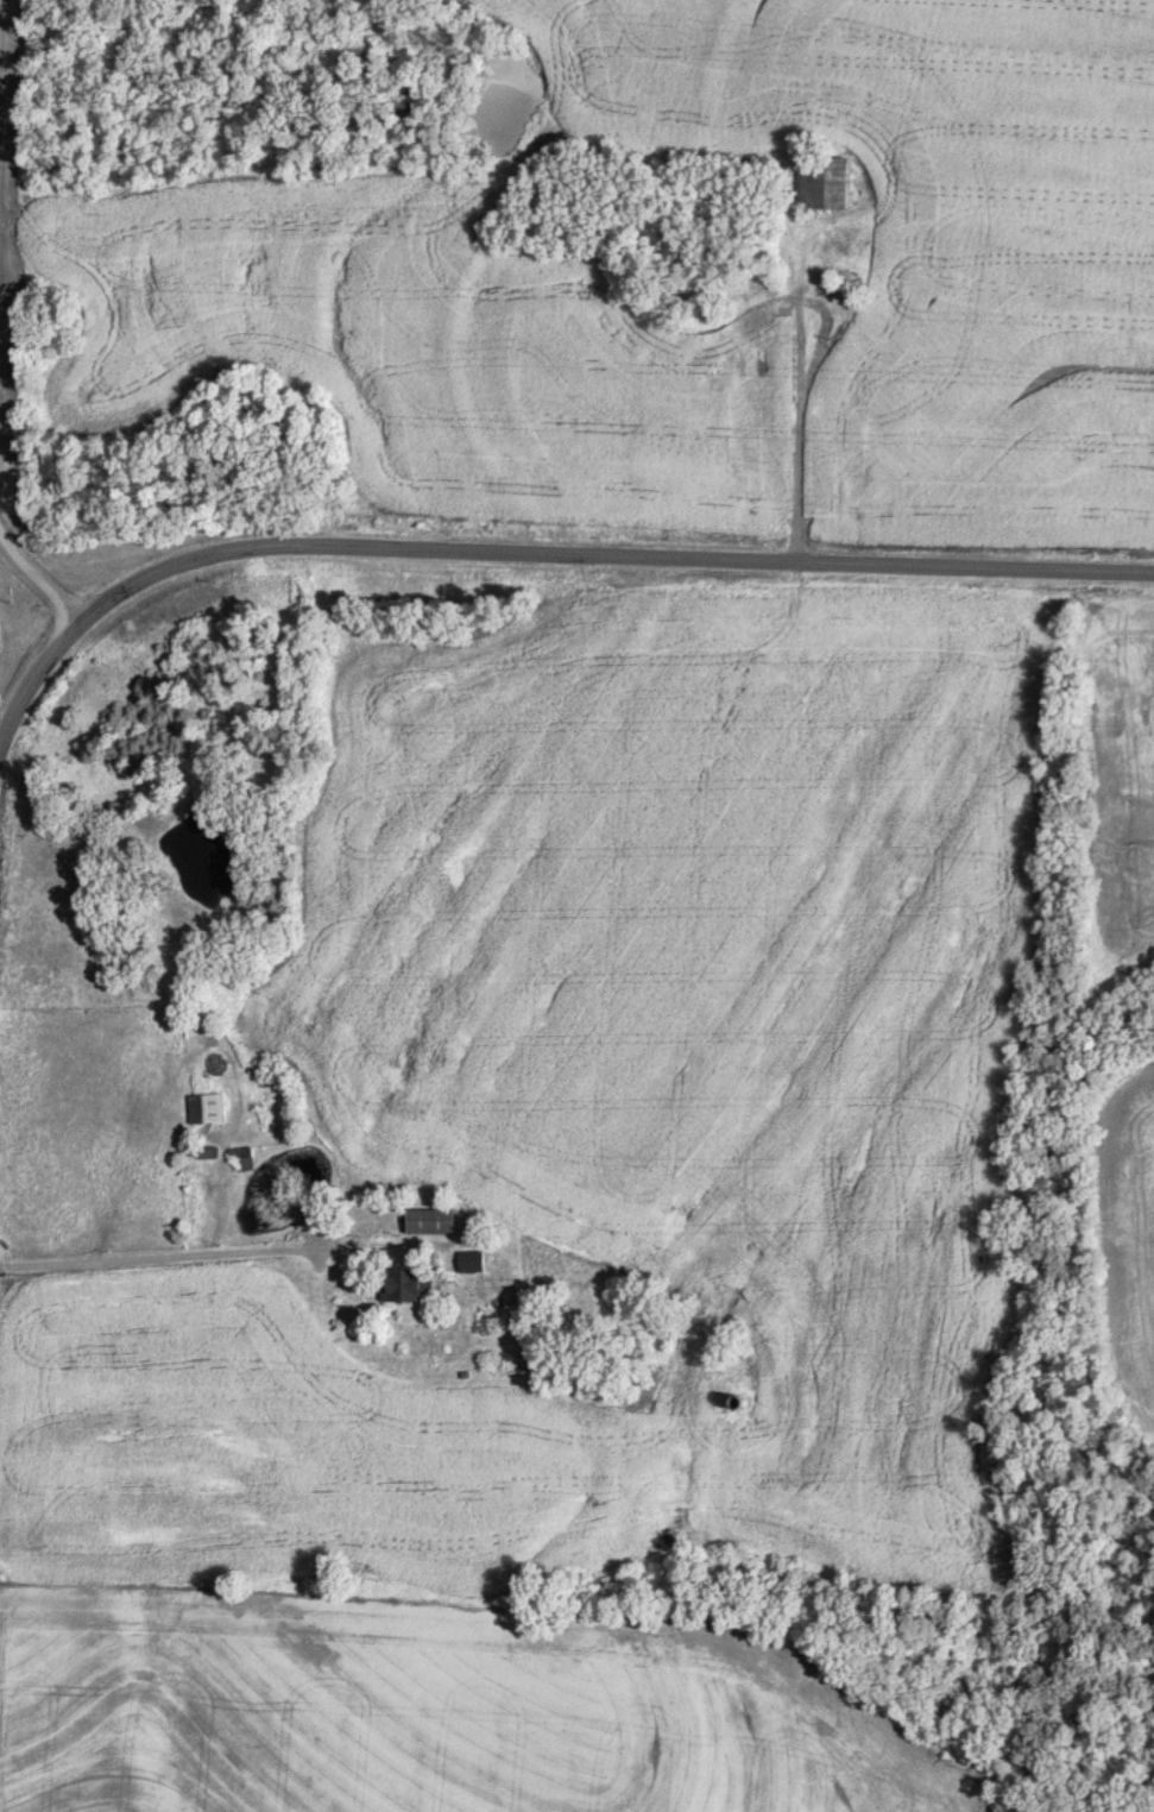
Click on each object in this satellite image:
building: (822, 182)
building: (753, 348)
road: (538, 549)
road: (37, 583)
building: (206, 1108)
building: (240, 1159)
building: (430, 1221)
road: (194, 1254)
building: (469, 1262)
building: (403, 1285)

